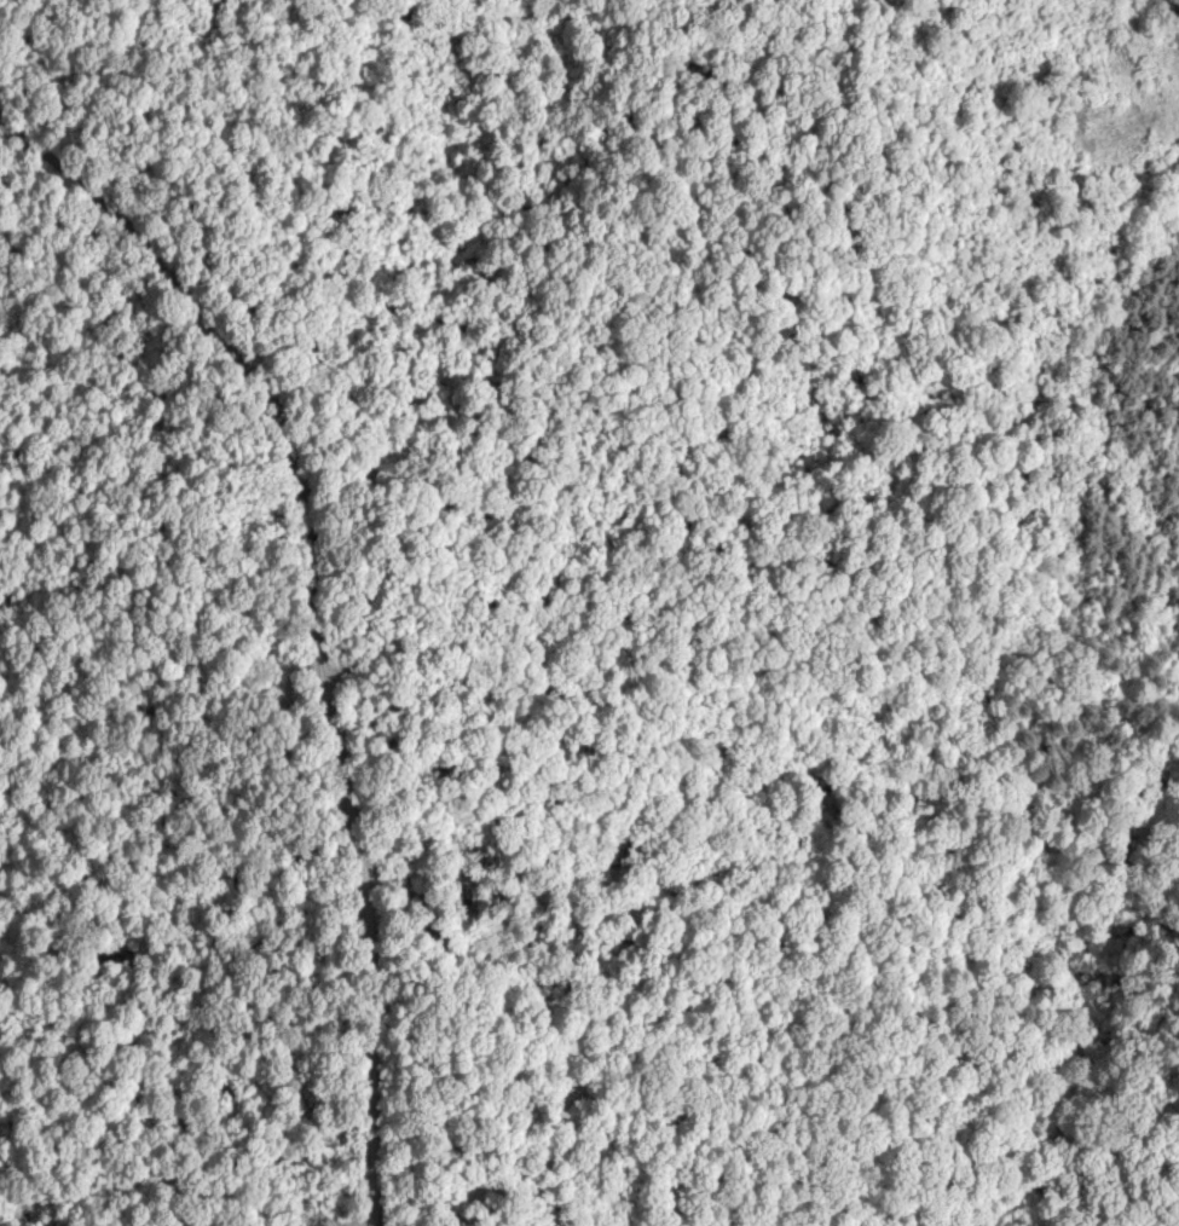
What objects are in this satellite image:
road: (333, 637)

